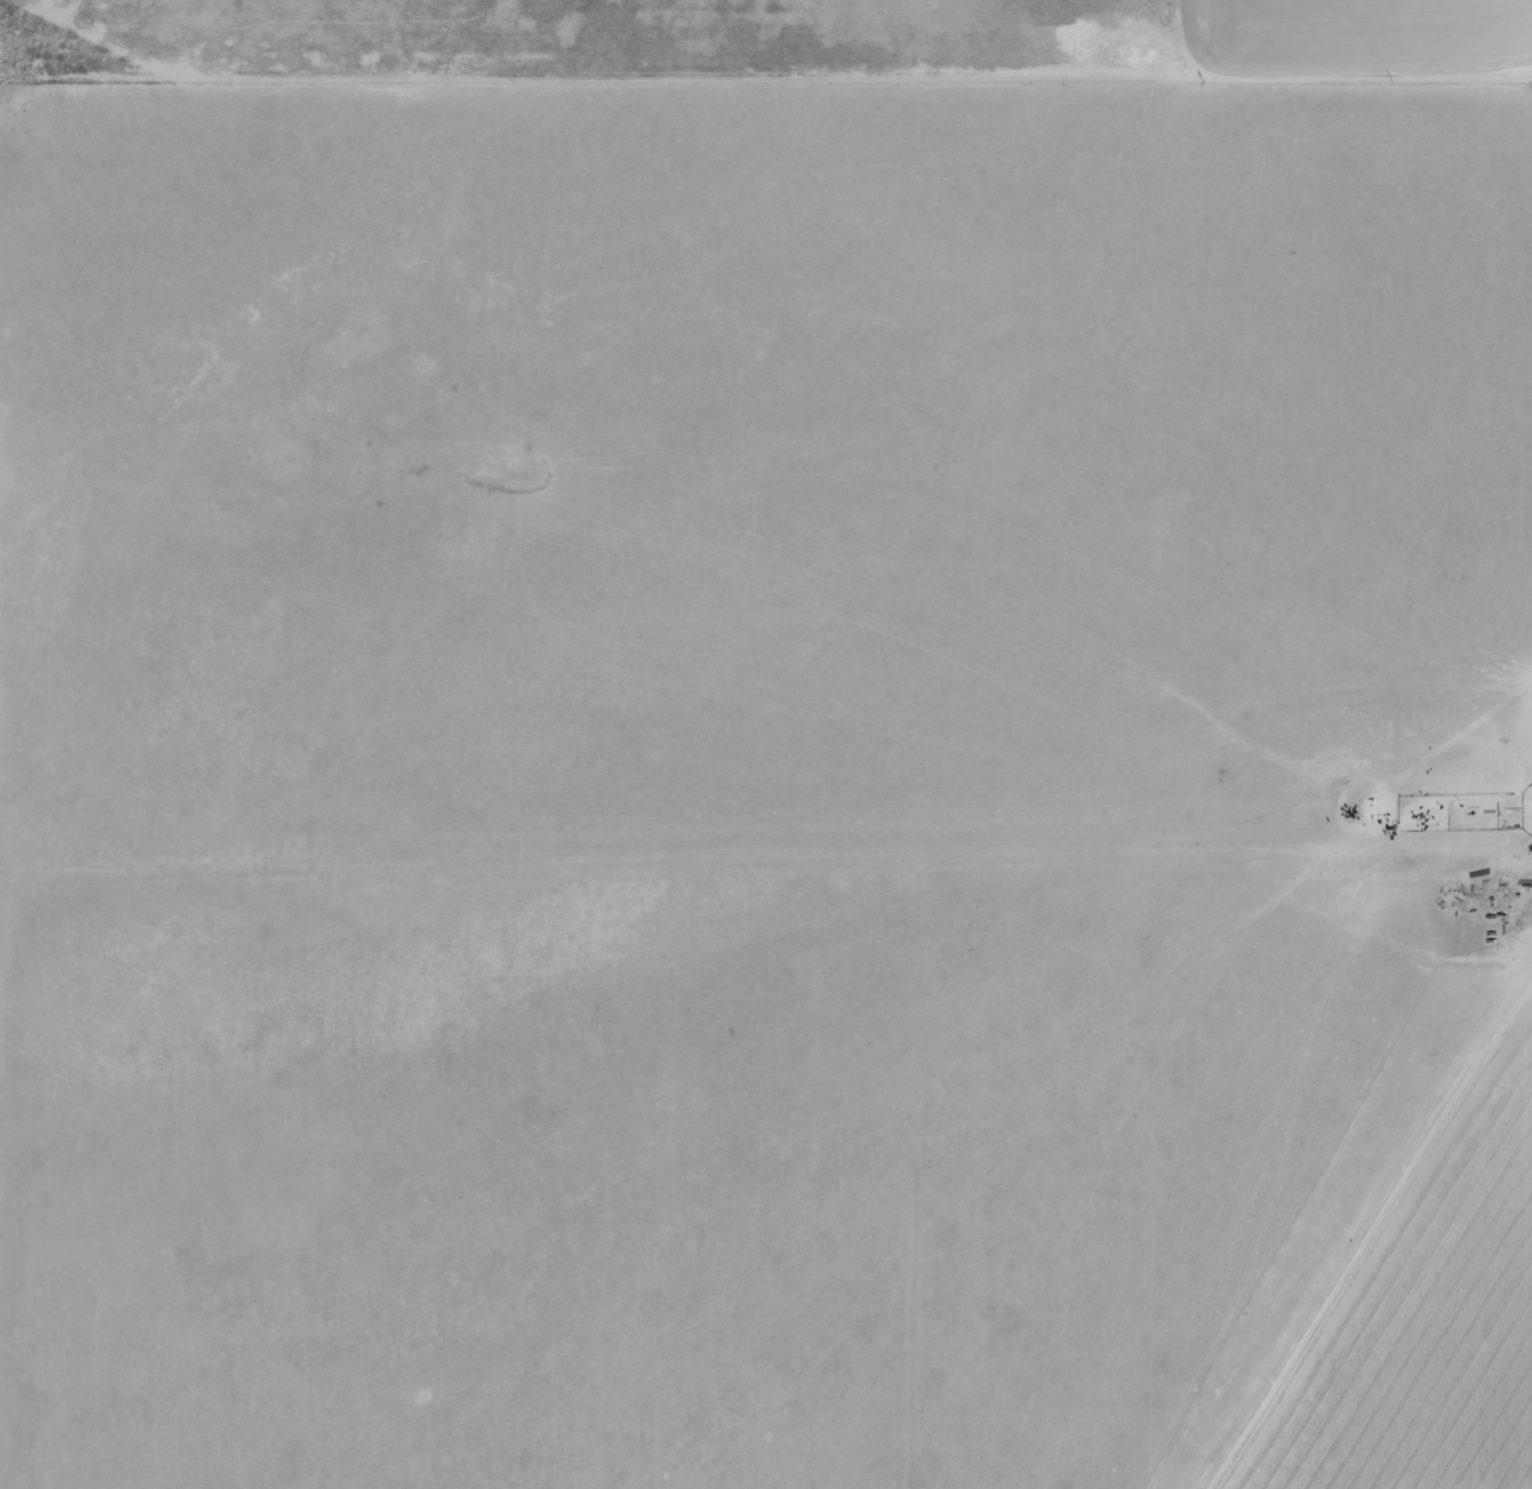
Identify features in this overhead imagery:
road: (1458, 86)

